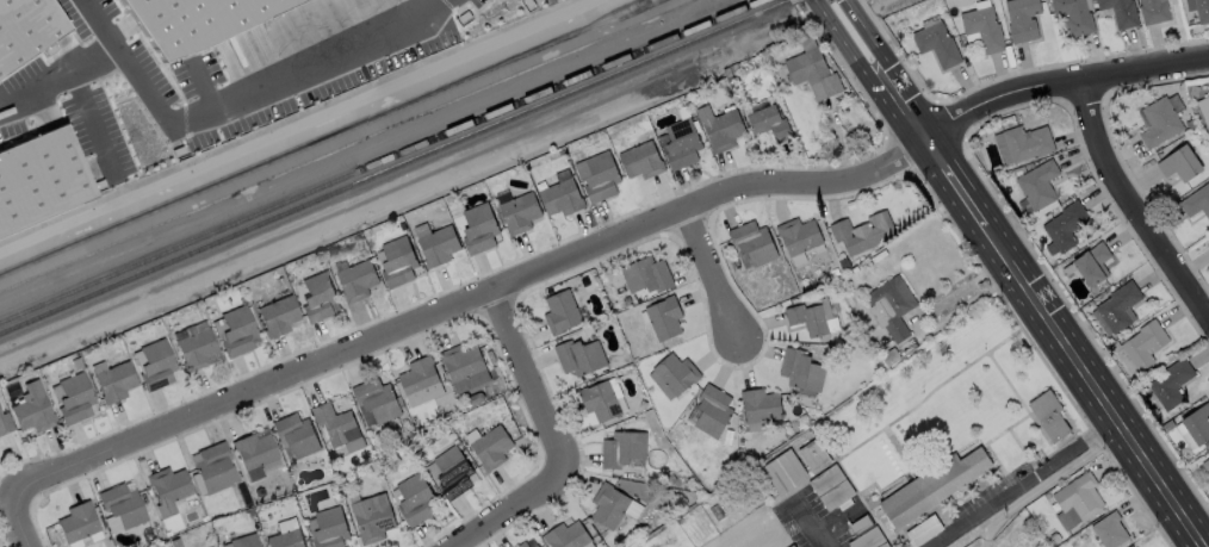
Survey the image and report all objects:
building: (1202, 11)
building: (1122, 12)
building: (1154, 12)
building: (1075, 17)
building: (187, 19)
building: (1024, 20)
road: (101, 23)
building: (24, 25)
building: (985, 30)
building: (938, 45)
road: (881, 46)
road: (852, 54)
building: (734, 69)
building: (728, 73)
building: (814, 74)
building: (1208, 98)
road: (199, 113)
building: (770, 124)
building: (1160, 124)
building: (1191, 126)
building: (721, 129)
building: (1029, 144)
building: (683, 145)
railway: (380, 161)
building: (643, 162)
building: (1180, 164)
railway: (398, 170)
building: (1019, 172)
building: (600, 178)
building: (41, 181)
building: (1040, 186)
road: (1135, 195)
building: (563, 199)
building: (1197, 203)
building: (521, 213)
building: (1067, 226)
building: (374, 229)
building: (480, 230)
building: (863, 234)
building: (800, 236)
road: (608, 242)
building: (1208, 243)
building: (754, 244)
building: (440, 247)
building: (399, 263)
building: (1091, 266)
road: (711, 274)
building: (649, 276)
building: (280, 281)
building: (358, 281)
road: (961, 288)
building: (318, 299)
building: (893, 307)
building: (1120, 307)
building: (562, 313)
building: (211, 316)
building: (278, 317)
building: (665, 319)
building: (810, 321)
road: (1054, 323)
building: (237, 332)
building: (1146, 346)
building: (197, 350)
building: (492, 358)
building: (581, 358)
building: (892, 358)
building: (464, 363)
building: (76, 365)
building: (156, 366)
building: (802, 371)
building: (677, 374)
building: (420, 379)
building: (116, 384)
building: (1172, 384)
road: (535, 385)
building: (75, 400)
building: (378, 400)
building: (601, 402)
building: (790, 402)
building: (762, 406)
building: (33, 411)
building: (713, 411)
building: (1050, 416)
building: (415, 419)
building: (334, 423)
building: (5, 424)
building: (1171, 424)
building: (1198, 425)
road: (1099, 428)
building: (297, 435)
building: (413, 435)
building: (455, 441)
building: (1208, 445)
building: (494, 448)
building: (624, 449)
building: (254, 455)
building: (816, 456)
building: (1207, 466)
building: (213, 468)
building: (454, 473)
building: (786, 473)
building: (671, 479)
road: (1052, 479)
building: (827, 480)
building: (334, 485)
building: (383, 485)
building: (934, 487)
building: (168, 490)
building: (668, 492)
road: (1002, 492)
building: (260, 493)
building: (837, 496)
building: (416, 501)
building: (1079, 502)
building: (123, 506)
building: (609, 506)
road: (504, 514)
road: (25, 516)
building: (374, 518)
building: (77, 523)
road: (806, 524)
building: (862, 526)
building: (255, 528)
building: (331, 528)
building: (1110, 530)
building: (924, 532)
building: (231, 536)
building: (568, 536)
building: (287, 539)
building: (870, 540)
building: (1056, 540)
building: (244, 541)
road: (982, 542)
building: (174, 543)
building: (525, 545)
building: (537, 546)
building: (793, 546)

